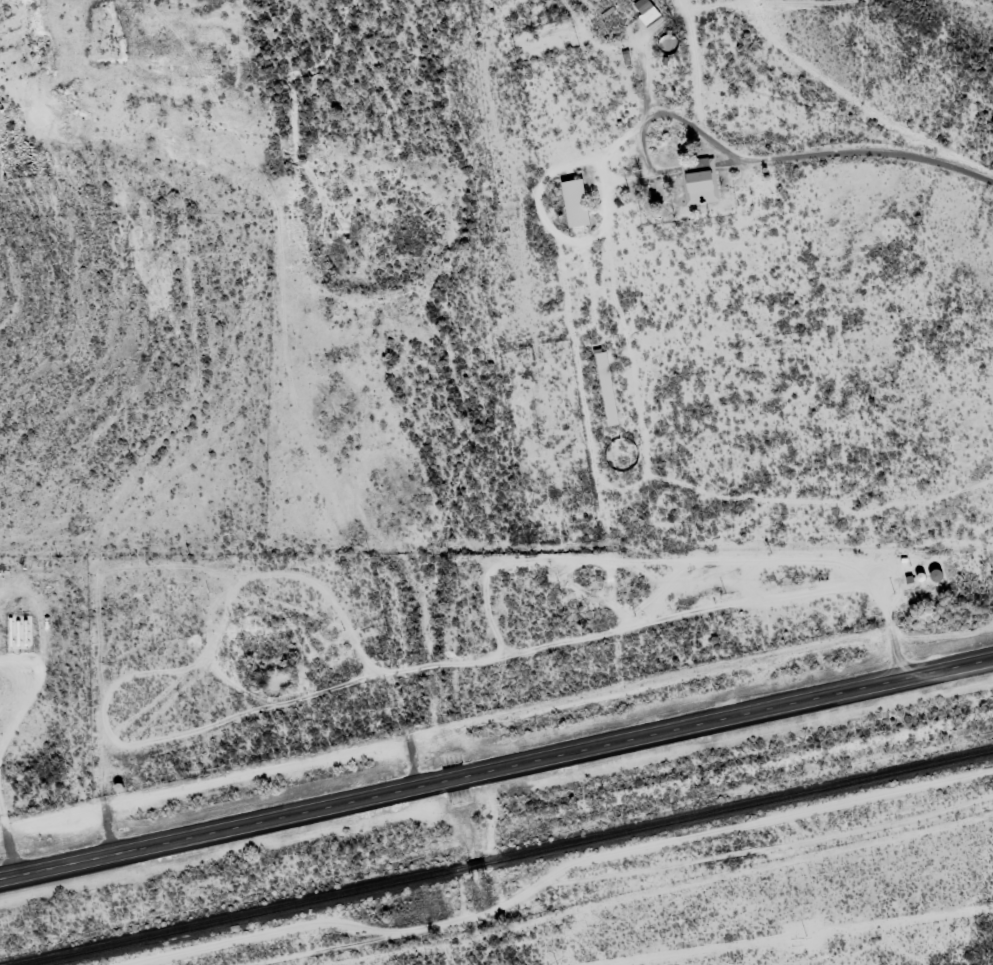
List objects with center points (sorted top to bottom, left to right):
road: (815, 7)
road: (966, 14)
building: (698, 180)
building: (572, 202)
building: (605, 393)
road: (496, 767)
railway: (501, 856)

